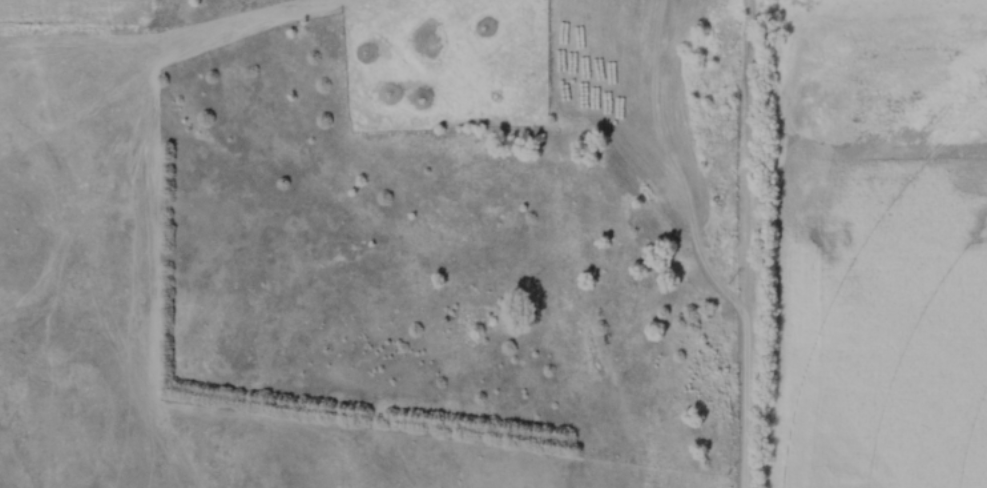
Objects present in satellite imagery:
road: (746, 243)

